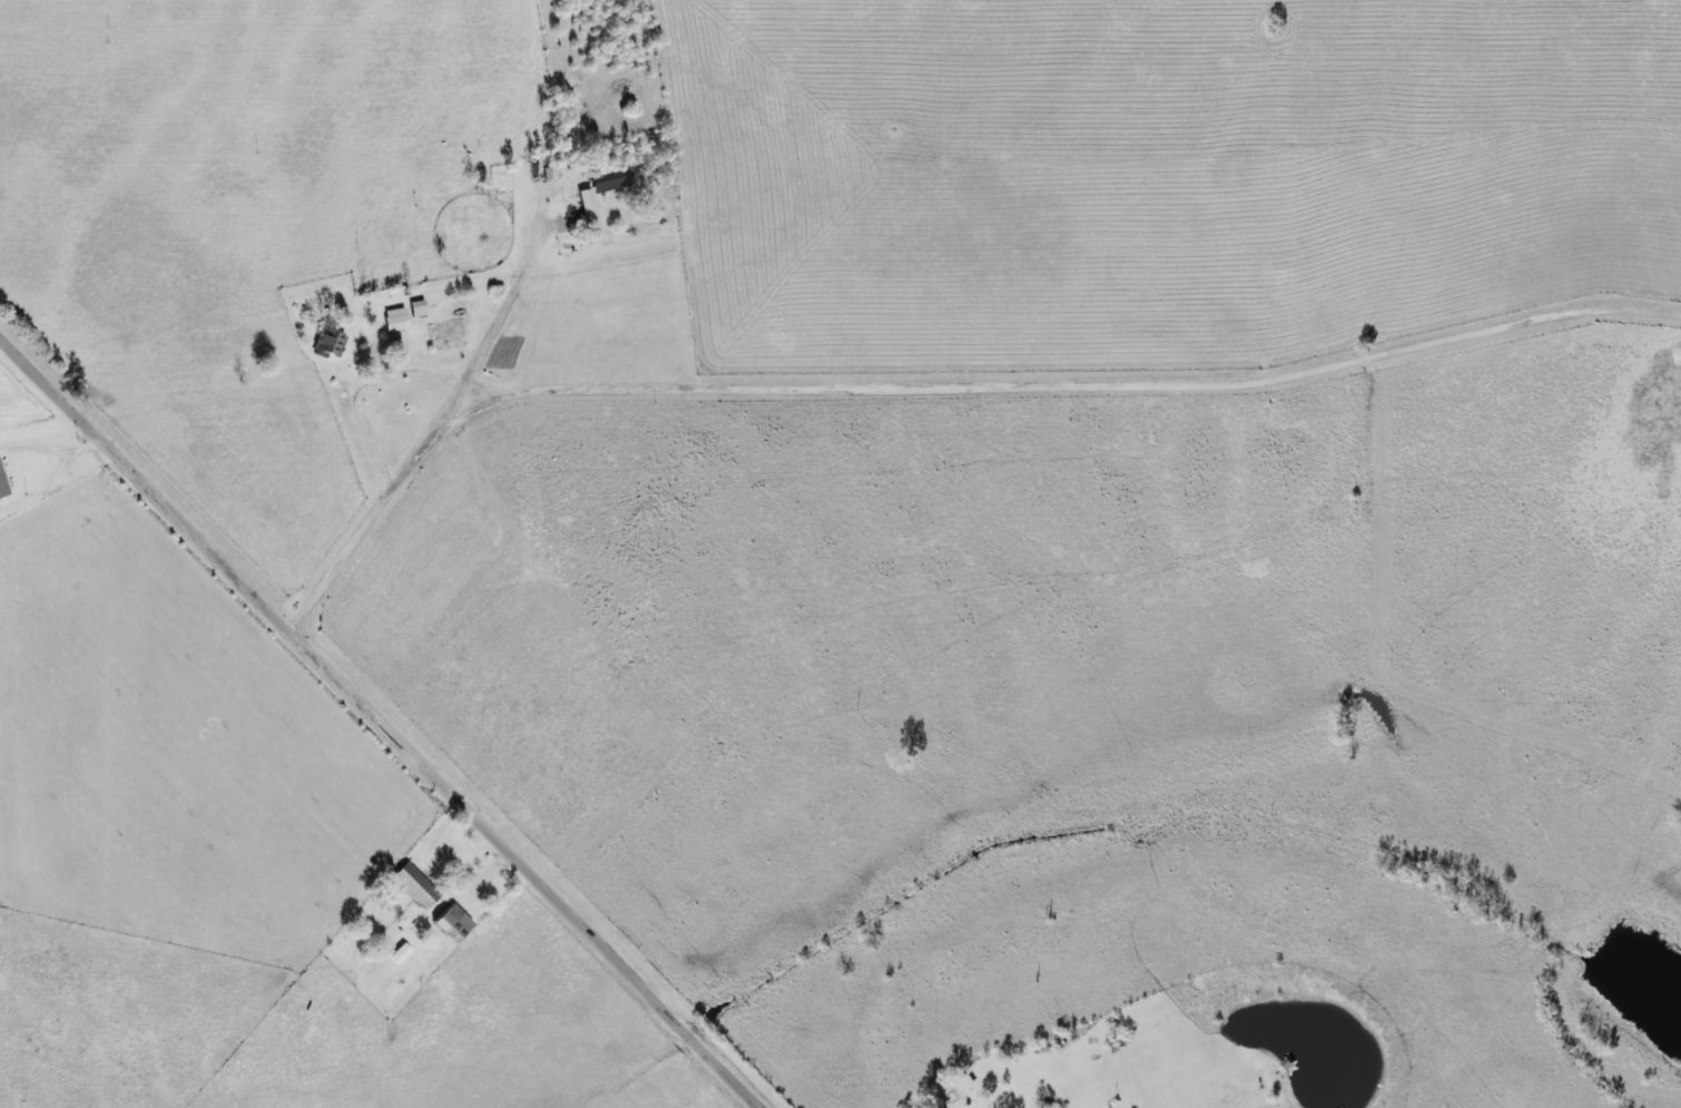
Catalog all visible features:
building: (610, 178)
building: (416, 307)
building: (395, 317)
building: (330, 342)
road: (1668, 343)
road: (947, 410)
building: (2, 484)
road: (360, 736)
building: (416, 884)
building: (387, 900)
building: (453, 922)

